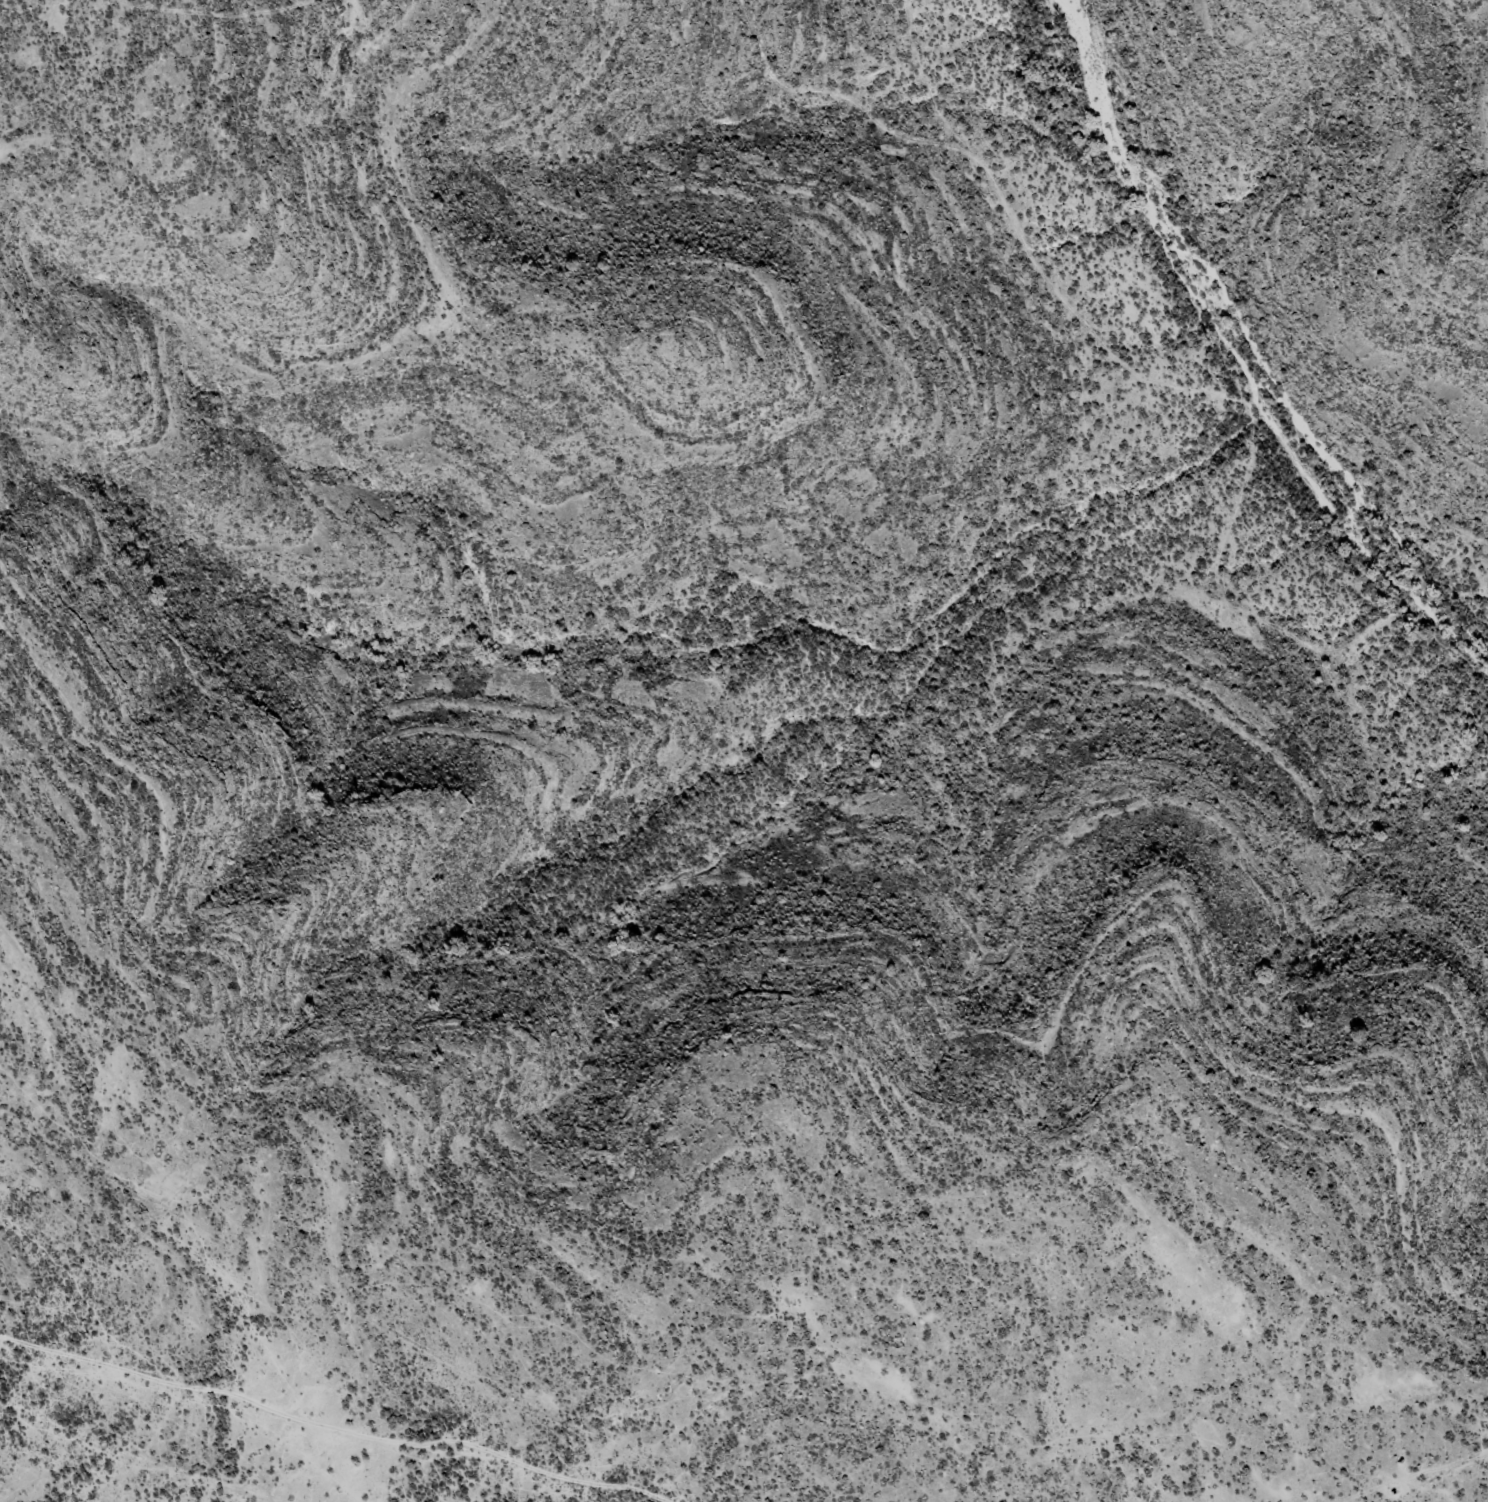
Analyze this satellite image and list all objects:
road: (306, 1418)

